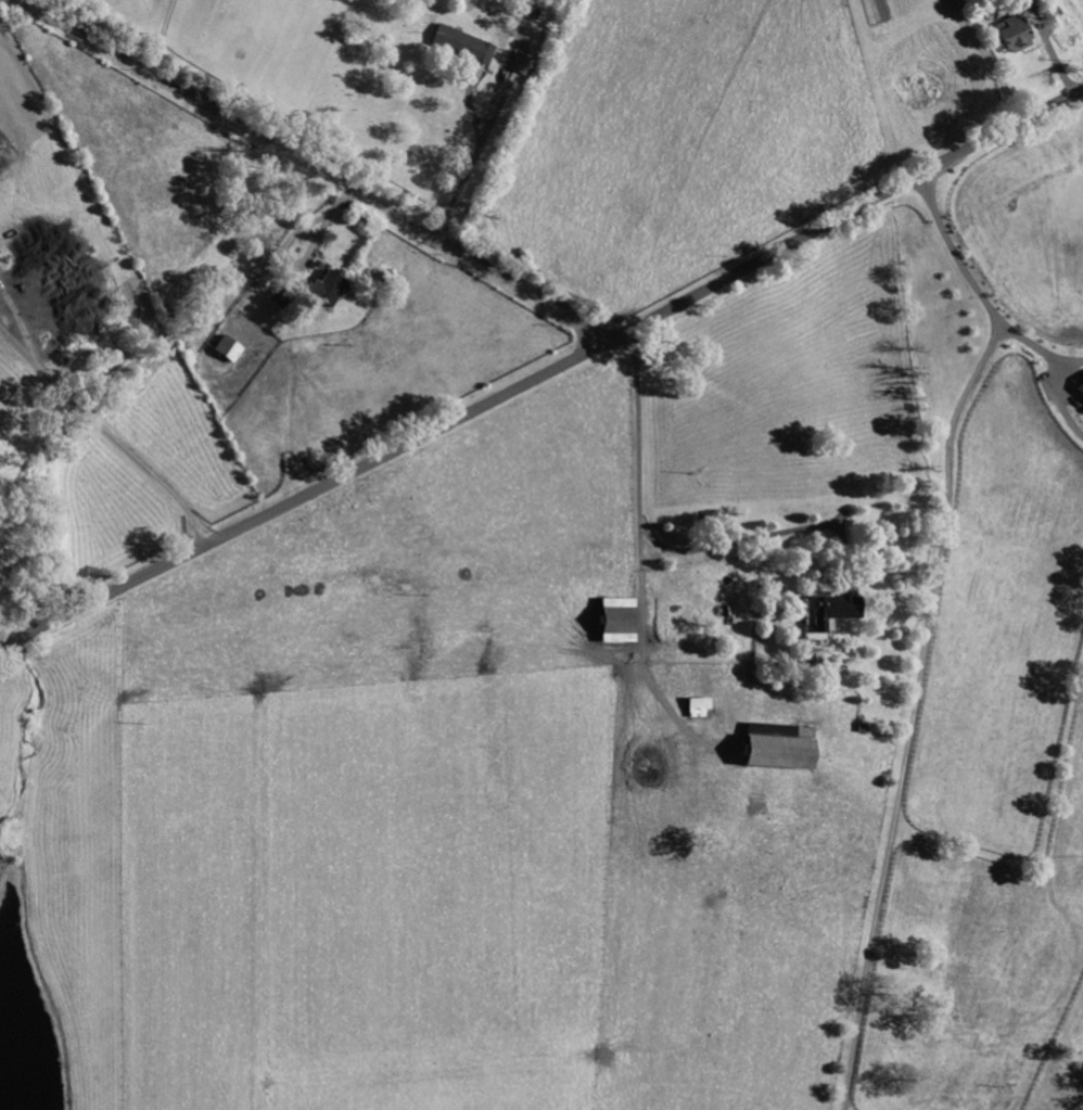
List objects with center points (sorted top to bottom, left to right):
building: (1024, 1)
building: (1011, 35)
road: (161, 38)
building: (462, 44)
road: (981, 62)
building: (522, 63)
road: (492, 120)
road: (314, 169)
building: (327, 288)
road: (1027, 342)
building: (227, 348)
road: (1067, 361)
road: (545, 375)
building: (1080, 388)
road: (1059, 401)
road: (107, 434)
road: (648, 530)
building: (826, 614)
building: (616, 620)
road: (928, 627)
building: (698, 706)
building: (774, 749)

